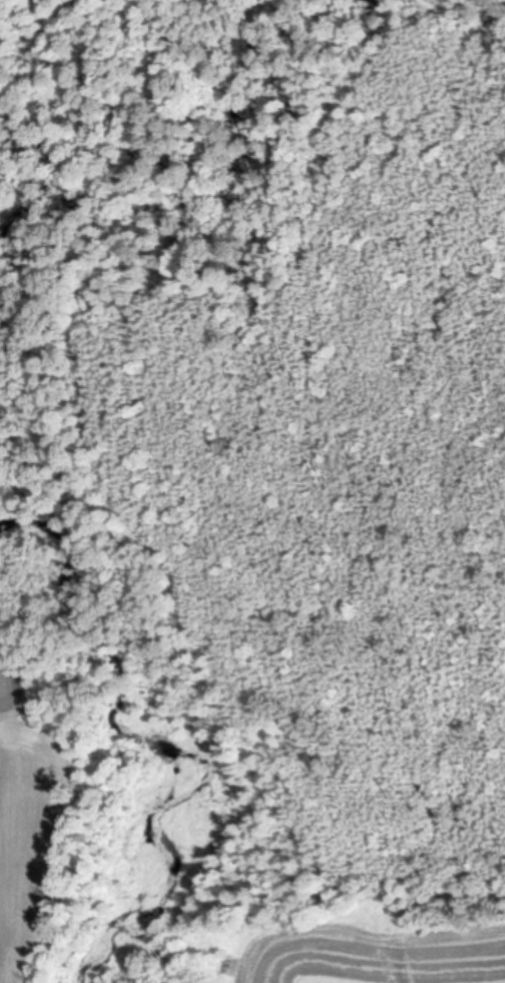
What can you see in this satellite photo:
crop: (18, 832)
crop: (369, 953)

